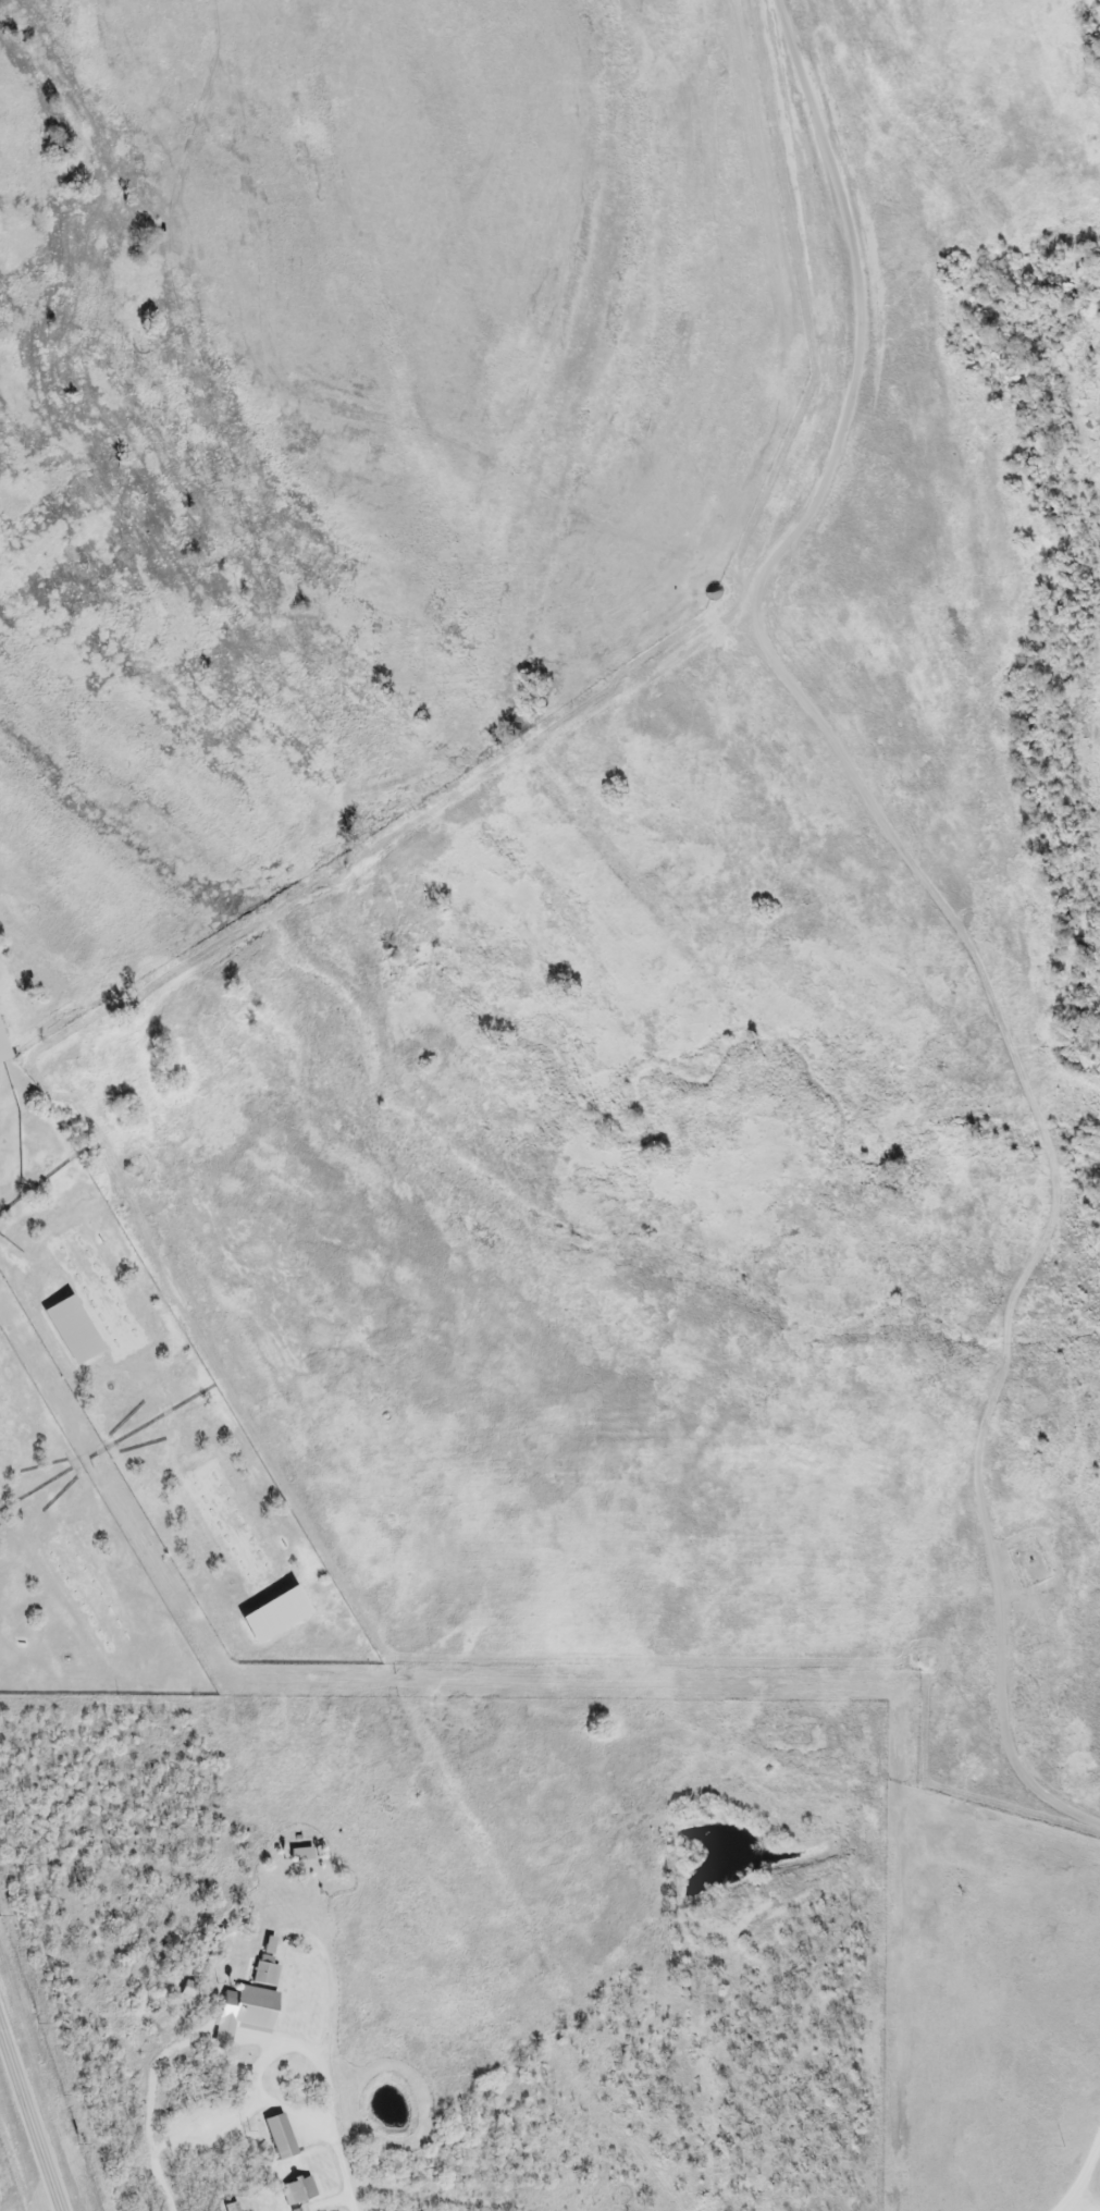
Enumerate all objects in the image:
building: (2, 1056)
building: (300, 1855)
building: (265, 1966)
building: (187, 1990)
building: (250, 2010)
building: (240, 2044)
road: (269, 2055)
road: (30, 2118)
building: (279, 2138)
road: (345, 2164)
building: (299, 2190)

